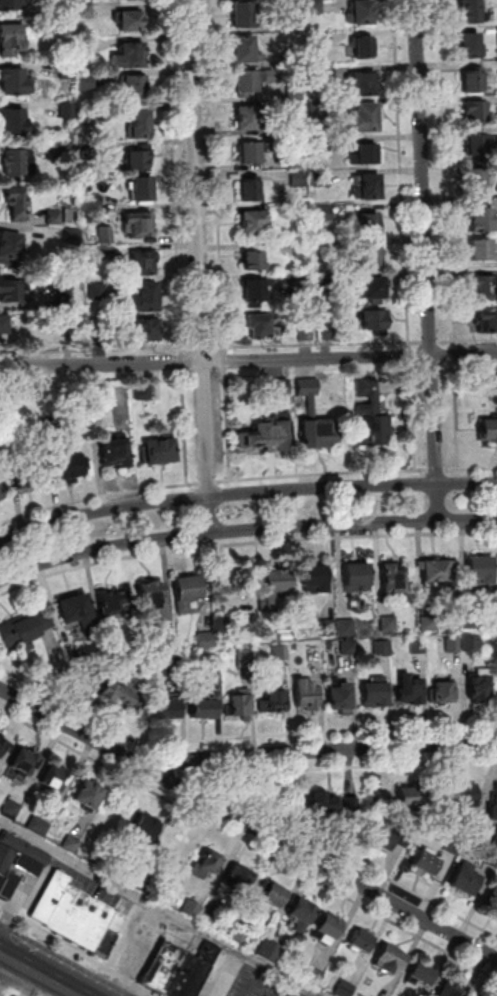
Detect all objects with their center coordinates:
building: (12, 4)
building: (315, 7)
building: (86, 10)
building: (472, 11)
building: (362, 13)
building: (244, 15)
building: (131, 21)
building: (294, 24)
building: (65, 25)
building: (12, 39)
building: (323, 39)
building: (88, 45)
building: (471, 46)
building: (365, 48)
building: (244, 49)
building: (130, 56)
building: (296, 57)
building: (67, 70)
building: (316, 75)
building: (475, 80)
building: (14, 81)
building: (87, 81)
building: (253, 81)
building: (136, 85)
building: (361, 85)
building: (296, 93)
building: (69, 109)
building: (320, 109)
building: (477, 111)
building: (90, 116)
building: (249, 118)
building: (365, 118)
building: (15, 123)
building: (141, 124)
building: (322, 144)
building: (480, 145)
building: (251, 153)
building: (366, 155)
building: (136, 161)
building: (299, 161)
building: (19, 162)
road: (446, 173)
road: (176, 177)
building: (322, 178)
building: (299, 180)
building: (479, 182)
building: (370, 187)
building: (143, 188)
building: (251, 190)
building: (94, 200)
building: (17, 202)
building: (301, 214)
building: (325, 214)
building: (55, 216)
building: (69, 216)
building: (484, 221)
building: (140, 224)
building: (255, 224)
building: (369, 224)
building: (107, 235)
building: (75, 237)
building: (9, 247)
building: (326, 248)
building: (302, 249)
building: (484, 250)
building: (107, 253)
building: (370, 260)
road: (429, 260)
building: (255, 261)
building: (143, 263)
road: (202, 266)
building: (326, 283)
building: (302, 286)
building: (375, 288)
building: (485, 289)
building: (9, 291)
building: (98, 292)
building: (256, 293)
building: (146, 298)
building: (66, 299)
building: (74, 318)
building: (376, 322)
building: (488, 322)
building: (4, 325)
building: (261, 326)
building: (146, 329)
building: (328, 332)
building: (307, 333)
building: (101, 334)
road: (469, 341)
road: (432, 342)
road: (417, 343)
road: (315, 345)
road: (411, 346)
road: (205, 348)
road: (219, 348)
road: (98, 350)
road: (225, 351)
road: (454, 354)
road: (412, 356)
road: (225, 361)
road: (248, 361)
road: (184, 362)
building: (491, 382)
building: (309, 387)
building: (277, 388)
building: (144, 392)
building: (97, 399)
building: (368, 399)
building: (54, 426)
road: (186, 427)
building: (488, 429)
building: (373, 432)
building: (319, 434)
building: (8, 436)
road: (455, 436)
building: (268, 438)
building: (162, 452)
building: (117, 453)
building: (68, 467)
road: (322, 474)
building: (27, 480)
road: (114, 492)
road: (245, 494)
building: (0, 498)
building: (0, 500)
road: (245, 529)
road: (244, 540)
building: (480, 571)
building: (435, 572)
building: (358, 579)
building: (394, 580)
building: (316, 581)
building: (276, 588)
building: (188, 593)
building: (152, 599)
building: (111, 603)
building: (77, 612)
building: (469, 620)
building: (390, 624)
building: (429, 624)
building: (347, 628)
building: (329, 629)
building: (23, 632)
building: (207, 641)
building: (473, 644)
building: (454, 645)
building: (419, 647)
building: (170, 648)
building: (350, 649)
building: (383, 649)
building: (281, 654)
building: (111, 657)
building: (246, 658)
building: (78, 660)
building: (213, 666)
building: (178, 667)
building: (93, 680)
building: (272, 689)
building: (479, 690)
building: (120, 692)
building: (411, 692)
building: (443, 694)
building: (376, 696)
street lamp: (33, 697)
building: (308, 697)
building: (341, 699)
building: (275, 702)
road: (71, 706)
building: (169, 707)
building: (241, 707)
building: (203, 708)
road: (319, 732)
building: (4, 750)
road: (316, 751)
road: (172, 760)
building: (25, 762)
building: (54, 780)
road: (220, 786)
building: (410, 795)
building: (462, 795)
building: (89, 796)
building: (378, 796)
building: (321, 797)
building: (492, 805)
building: (12, 808)
building: (353, 809)
road: (248, 825)
building: (39, 826)
building: (146, 831)
building: (387, 835)
building: (494, 837)
road: (248, 842)
building: (73, 844)
building: (490, 859)
building: (423, 861)
building: (18, 862)
building: (213, 864)
building: (133, 877)
building: (463, 878)
building: (239, 880)
building: (49, 894)
building: (491, 896)
building: (276, 897)
road: (160, 908)
building: (193, 910)
building: (303, 913)
building: (81, 918)
building: (208, 919)
building: (330, 928)
building: (239, 936)
building: (363, 943)
building: (271, 952)
road: (76, 953)
building: (392, 961)
building: (160, 965)
road: (39, 974)
building: (186, 976)
building: (423, 976)
building: (316, 977)
parking lot: (249, 979)
building: (346, 989)
road: (7, 990)
building: (450, 991)
parking lot: (312, 993)
road: (14, 995)
road: (16, 995)

